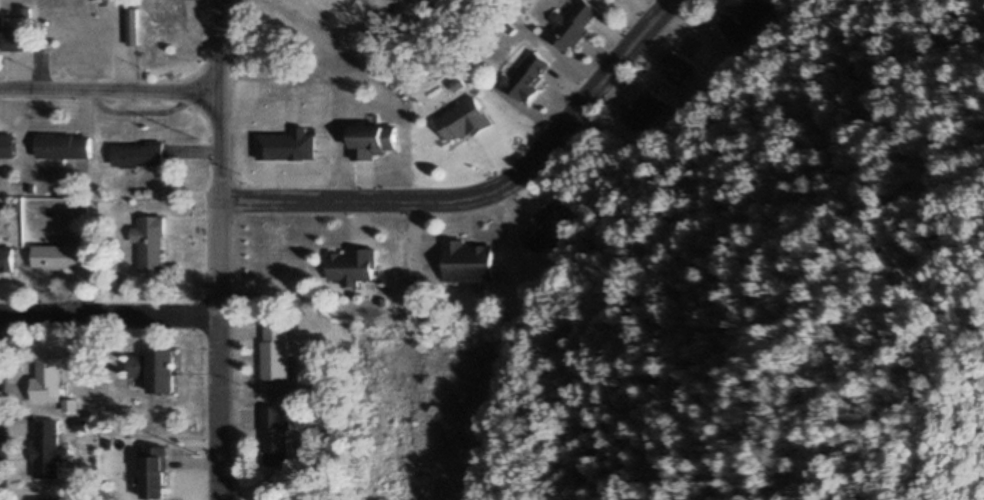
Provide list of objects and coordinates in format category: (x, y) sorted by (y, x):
road: (419, 0)
building: (572, 26)
building: (133, 34)
building: (12, 38)
building: (527, 77)
road: (111, 90)
building: (644, 111)
building: (461, 122)
building: (370, 143)
building: (64, 148)
building: (8, 149)
building: (138, 155)
road: (487, 193)
building: (544, 229)
building: (150, 244)
road: (219, 249)
building: (57, 257)
building: (6, 259)
building: (465, 262)
building: (351, 267)
building: (414, 289)
road: (109, 317)
building: (274, 353)
building: (152, 371)
building: (45, 381)
building: (68, 406)
building: (276, 437)
building: (46, 450)
building: (151, 473)
building: (46, 499)

